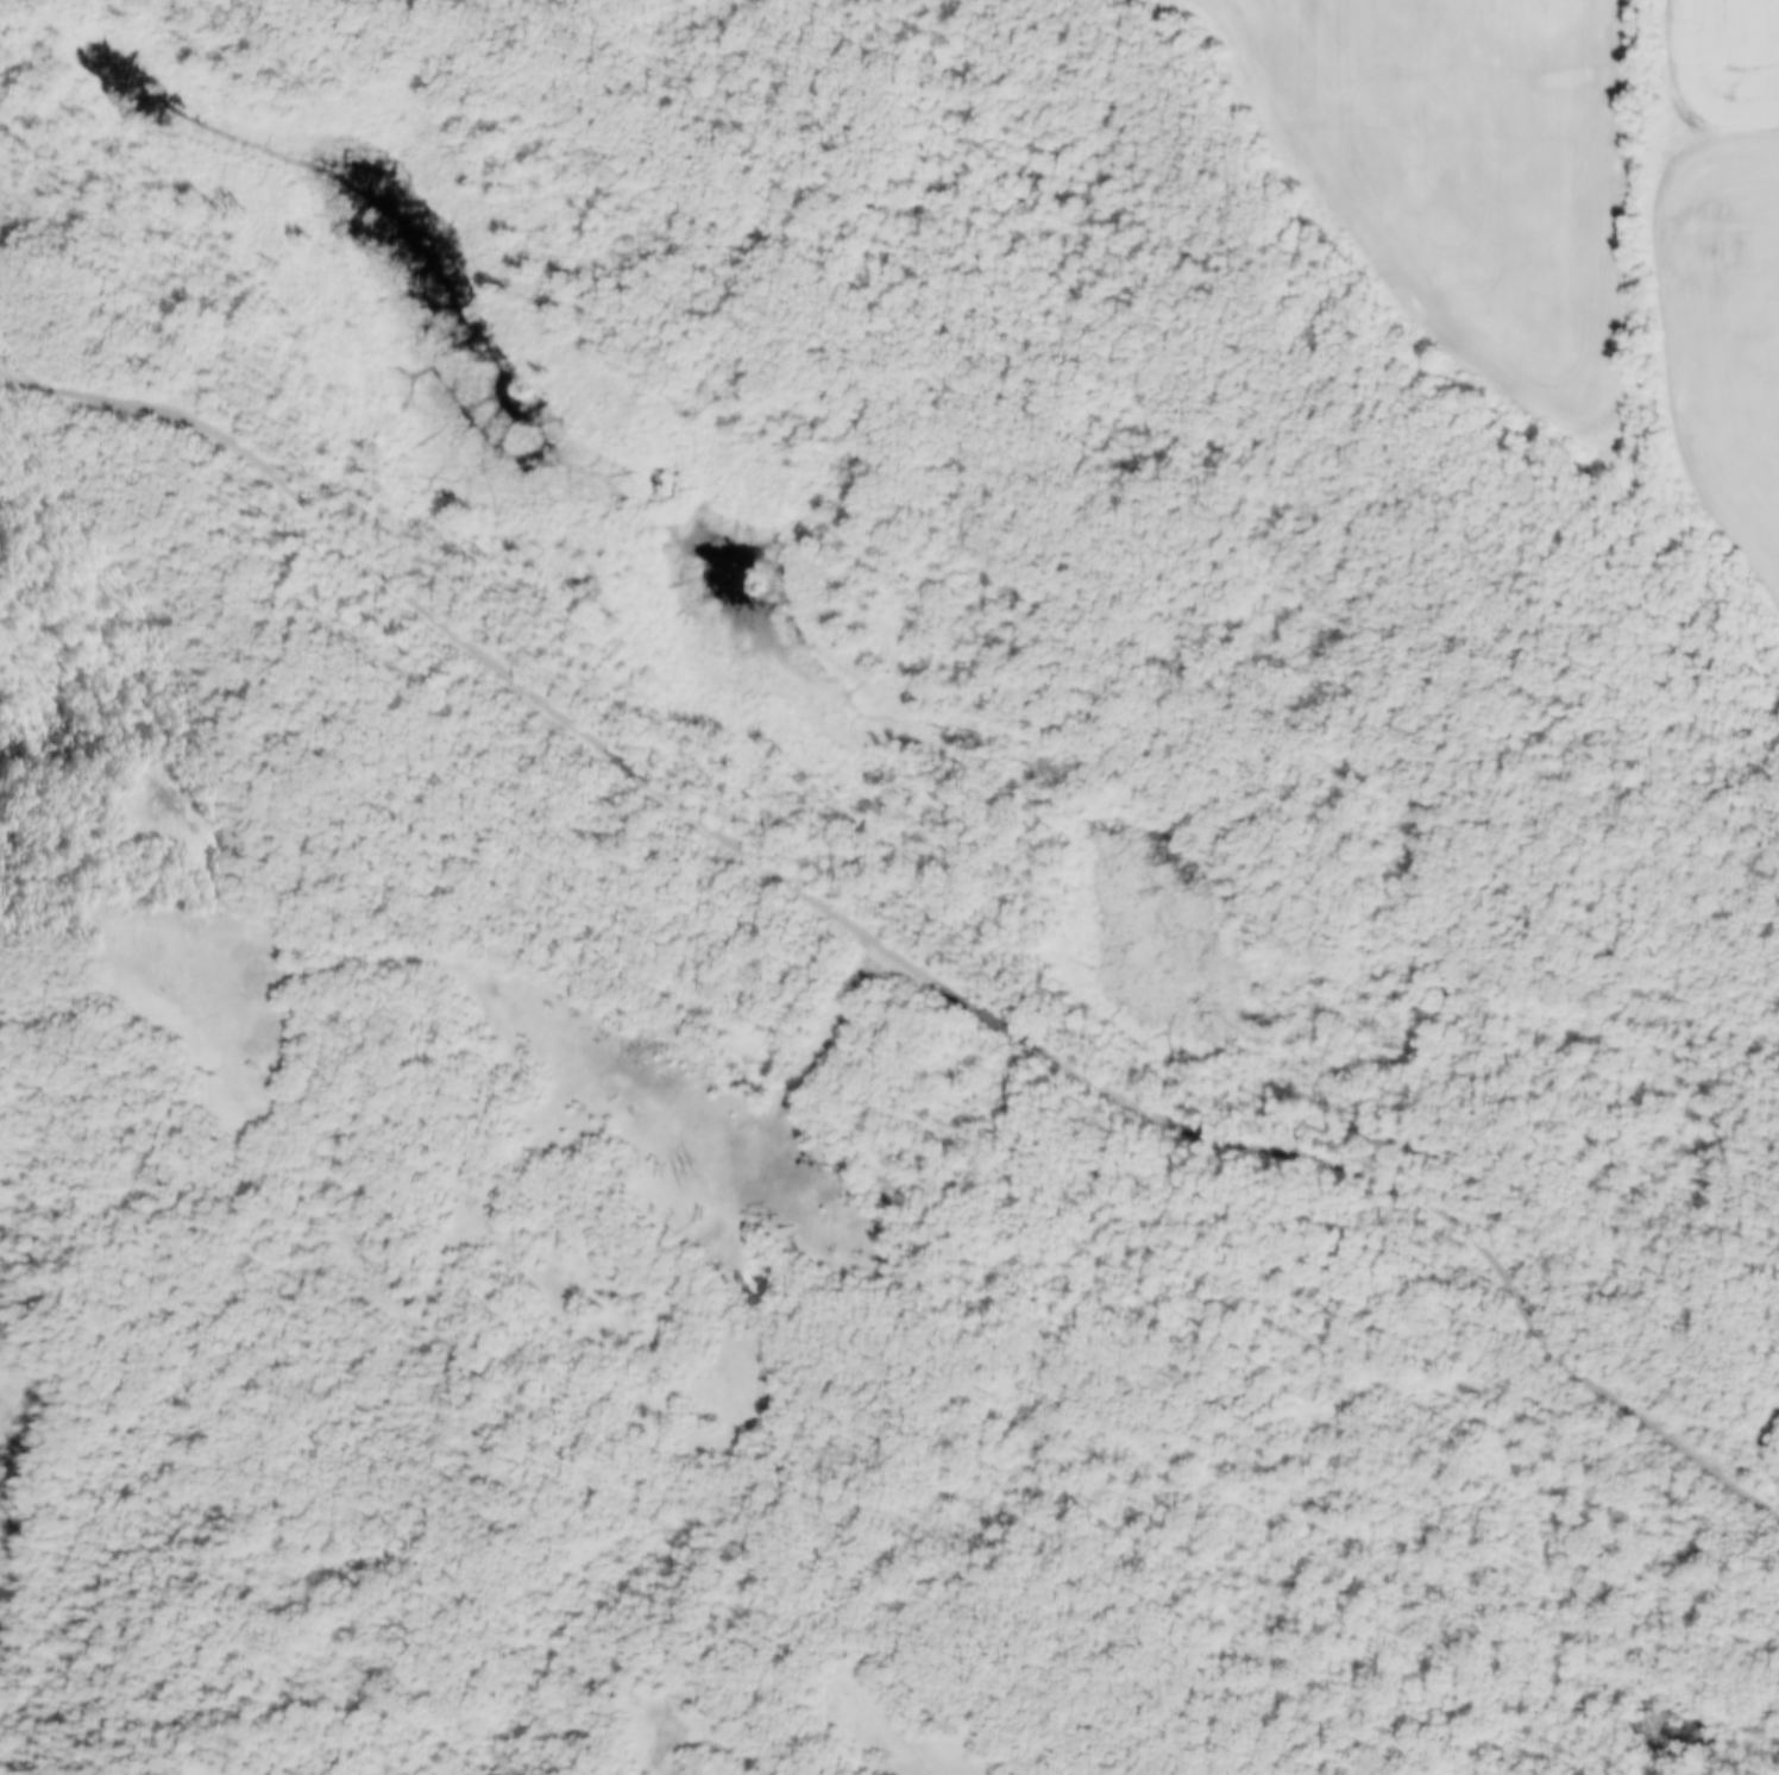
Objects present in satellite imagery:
road: (1648, 31)
road: (889, 939)
road: (826, 1057)

